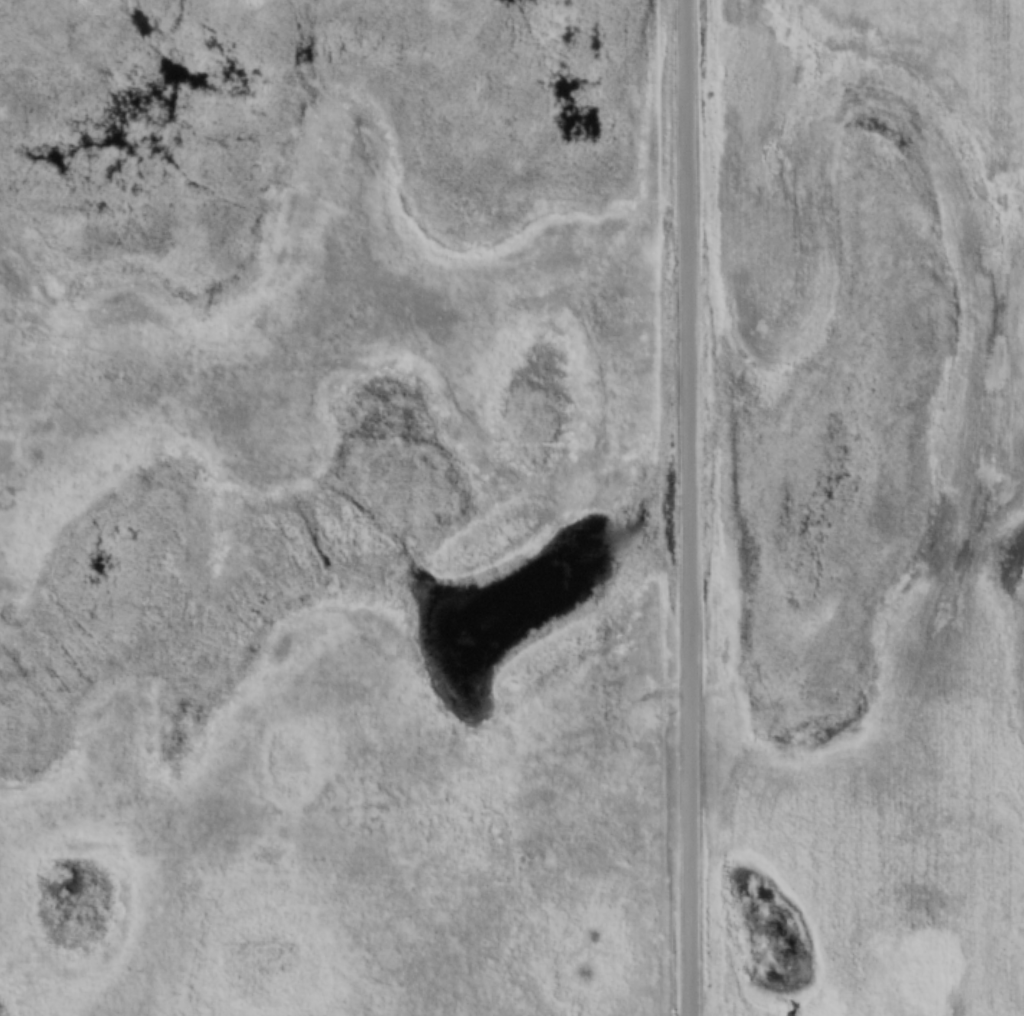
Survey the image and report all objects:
road: (685, 508)

